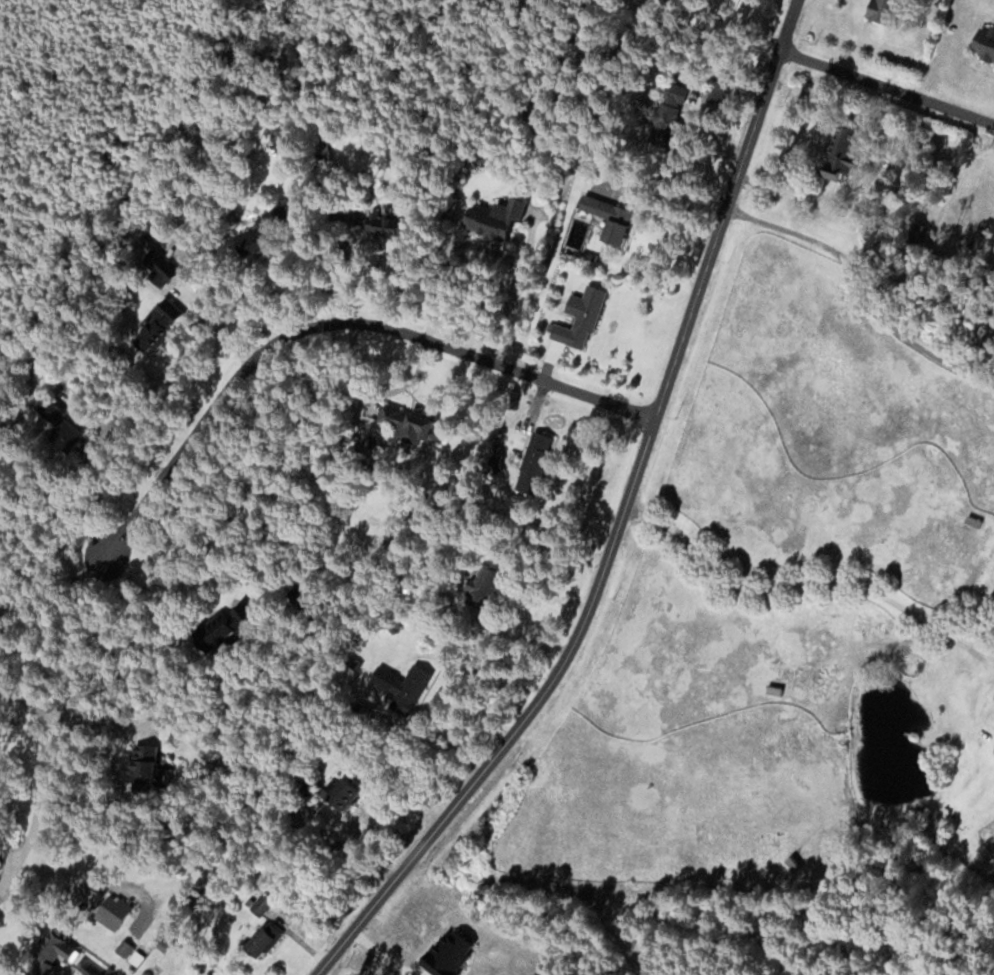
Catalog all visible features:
building: (879, 10)
building: (983, 42)
road: (887, 88)
building: (666, 104)
building: (321, 150)
building: (838, 153)
building: (605, 214)
building: (492, 218)
building: (377, 225)
building: (246, 240)
building: (161, 314)
building: (577, 318)
road: (328, 324)
building: (401, 425)
building: (59, 430)
building: (531, 459)
road: (621, 521)
road: (788, 585)
building: (477, 589)
building: (208, 632)
building: (405, 689)
building: (138, 774)
building: (328, 792)
building: (791, 863)
road: (12, 872)
building: (117, 913)
building: (259, 940)
building: (63, 946)

